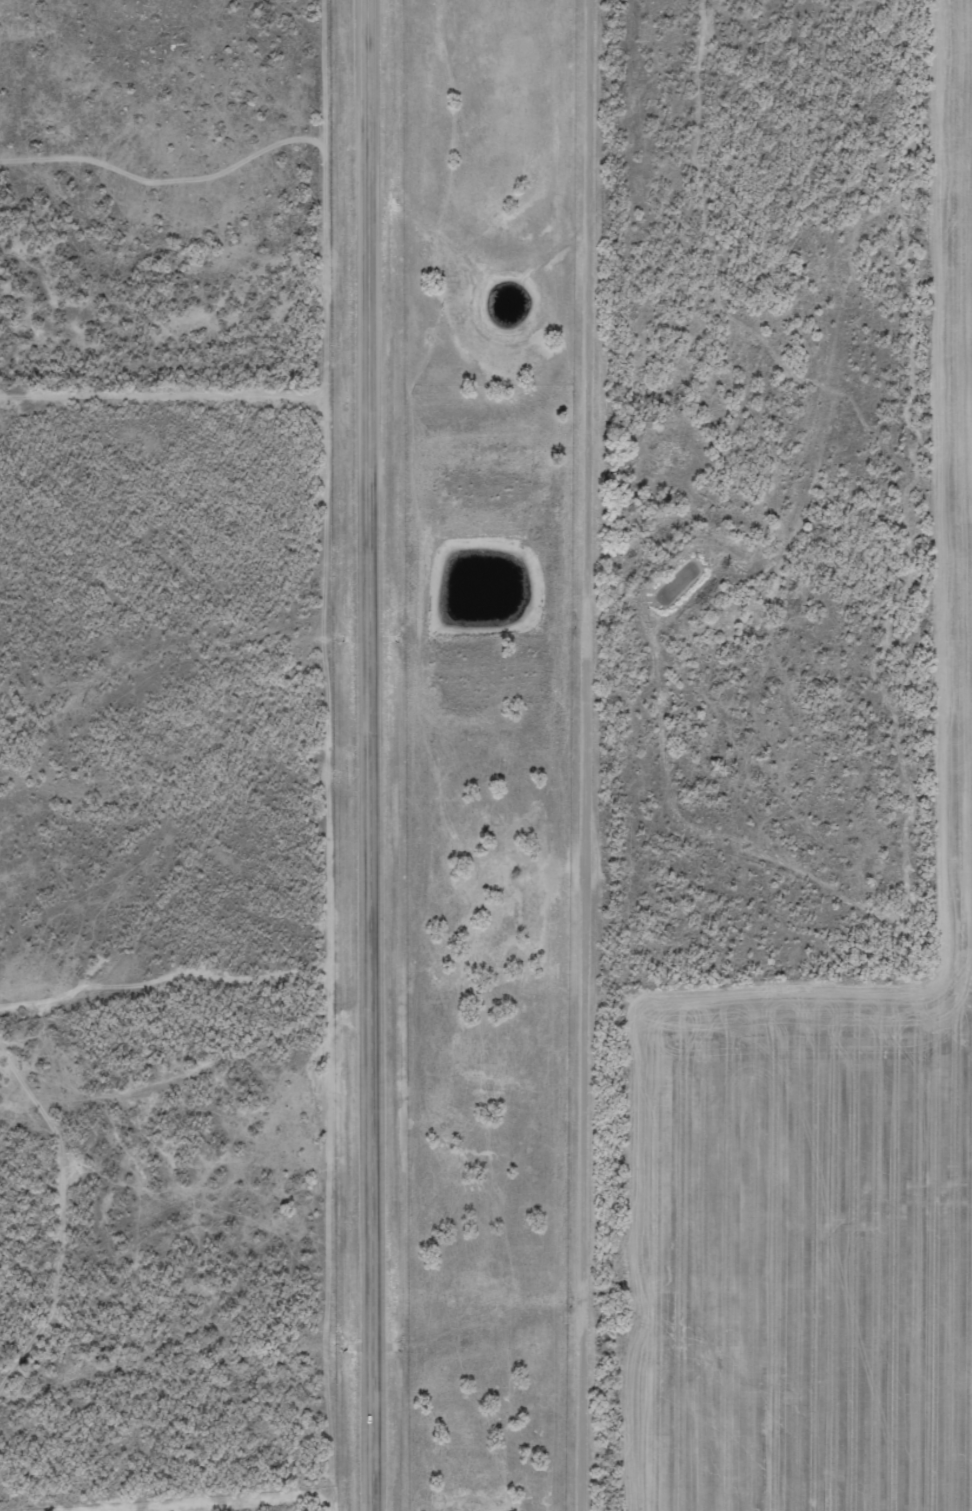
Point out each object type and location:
road: (370, 755)
road: (606, 755)
road: (187, 1081)

